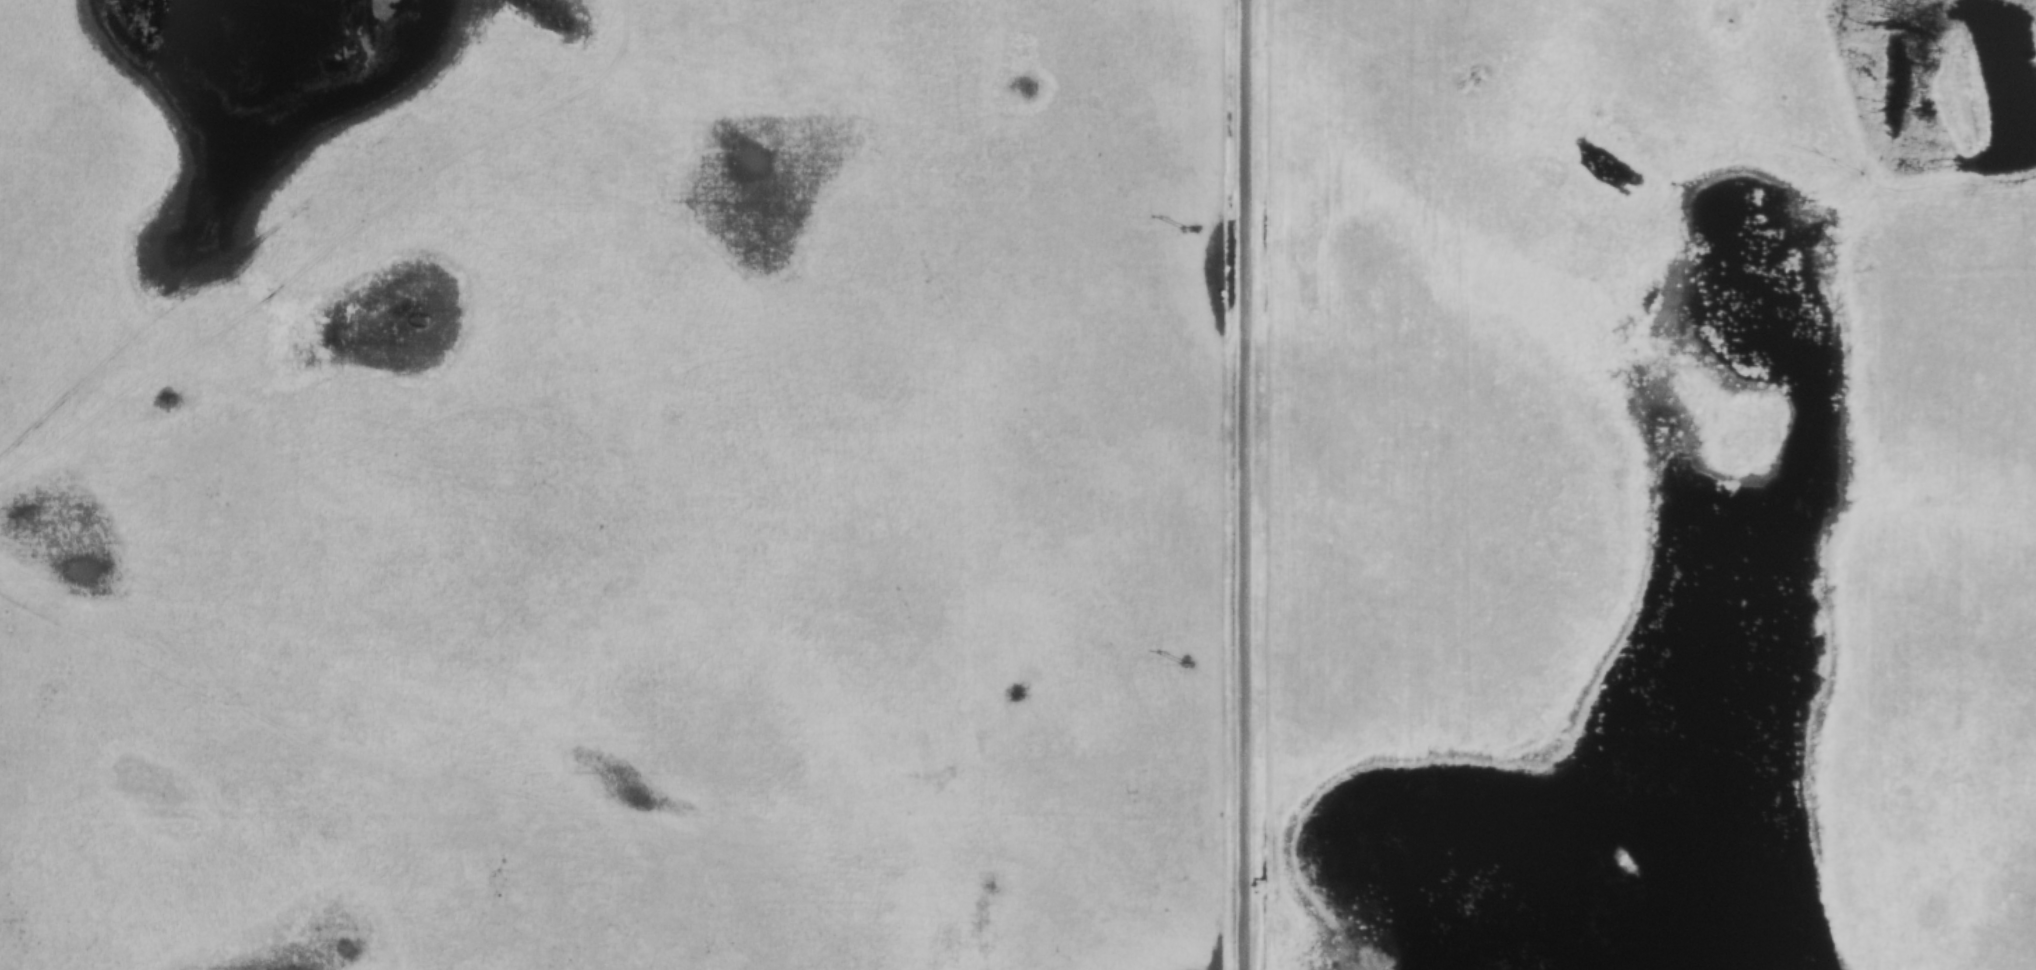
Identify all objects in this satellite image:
power tower: (1185, 228)
road: (1221, 485)
power tower: (1185, 664)

